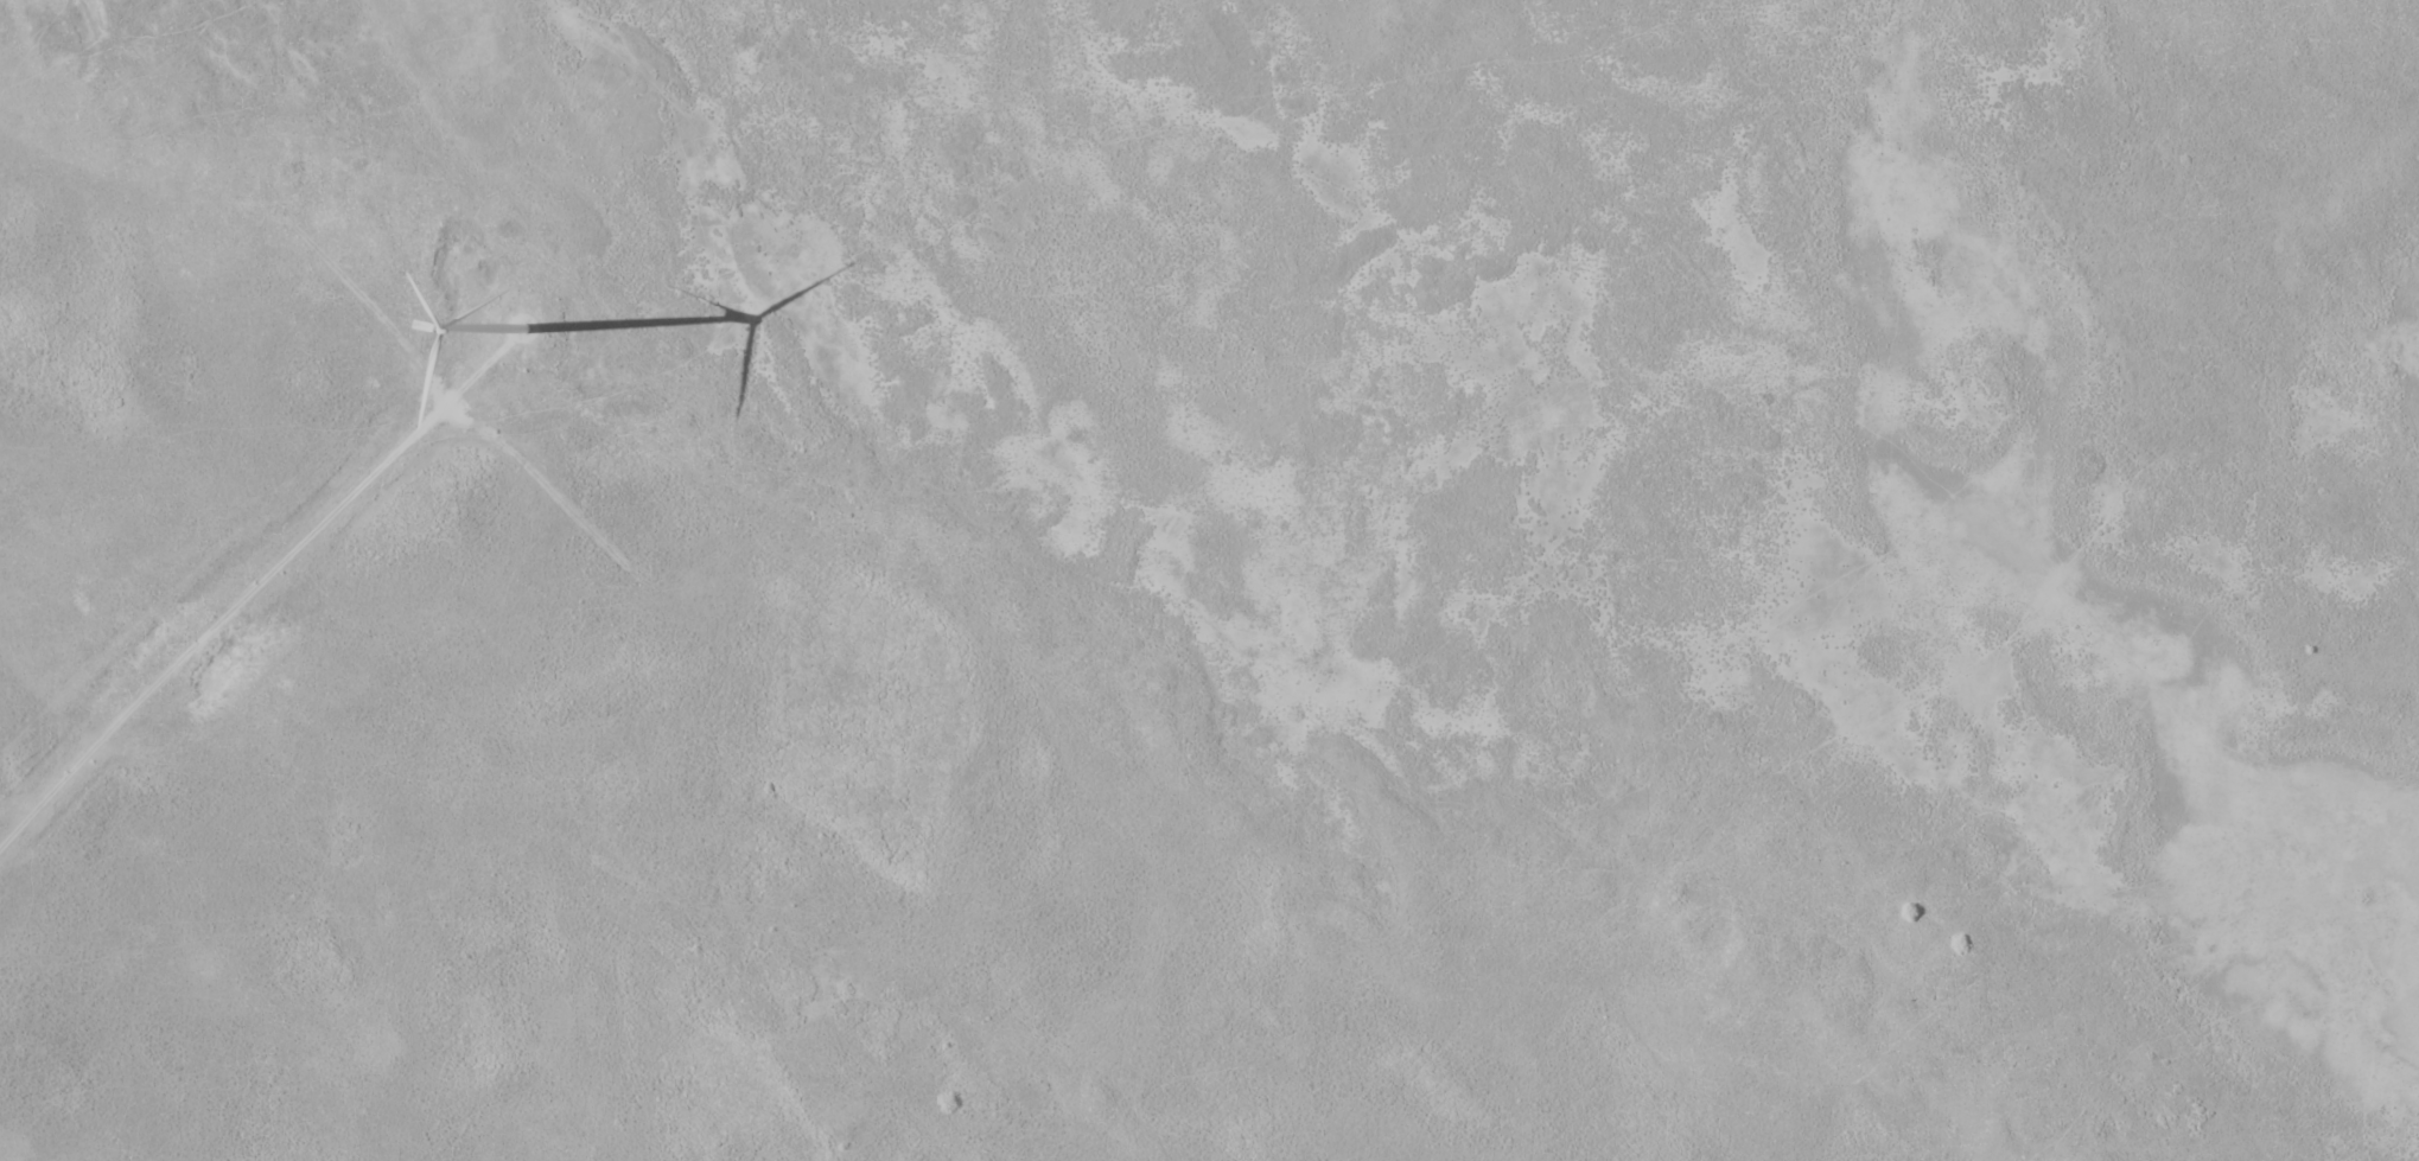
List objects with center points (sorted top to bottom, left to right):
wind turbine: (515, 338)

